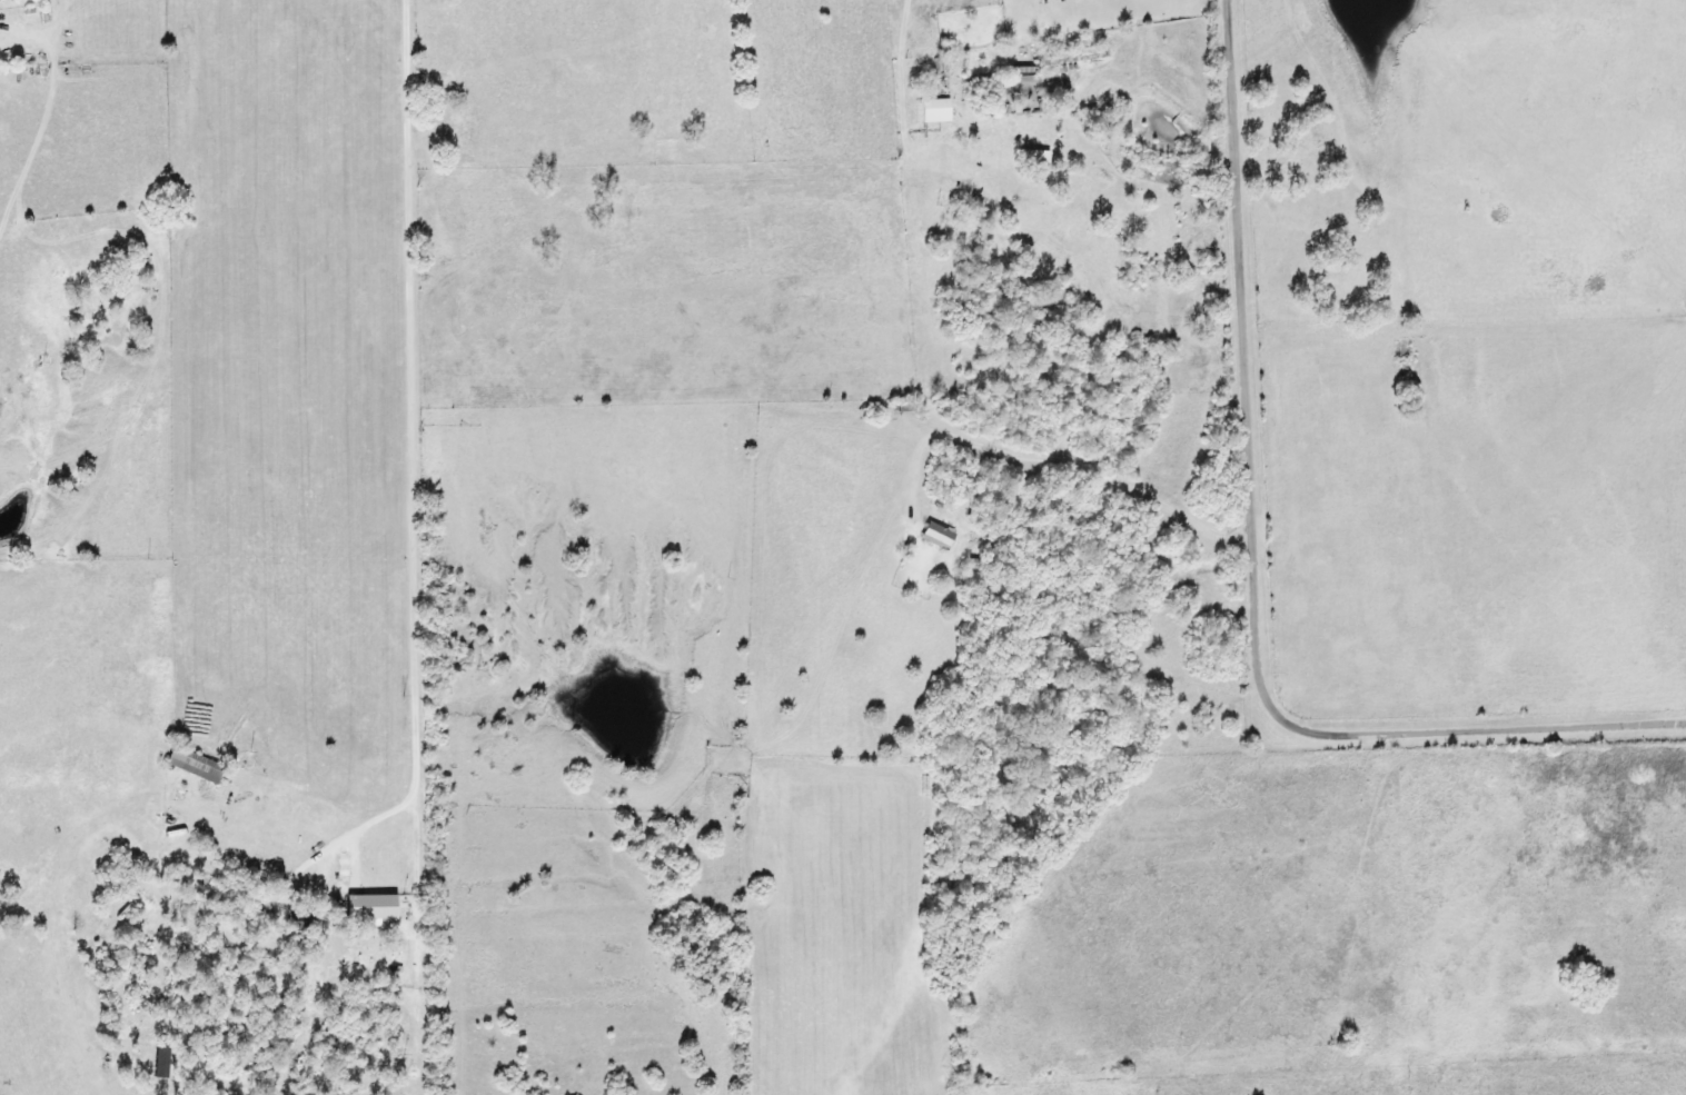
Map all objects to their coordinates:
road: (900, 29)
building: (931, 111)
road: (1183, 389)
building: (931, 536)
road: (1259, 561)
road: (407, 573)
building: (188, 766)
building: (80, 894)
building: (153, 1062)

